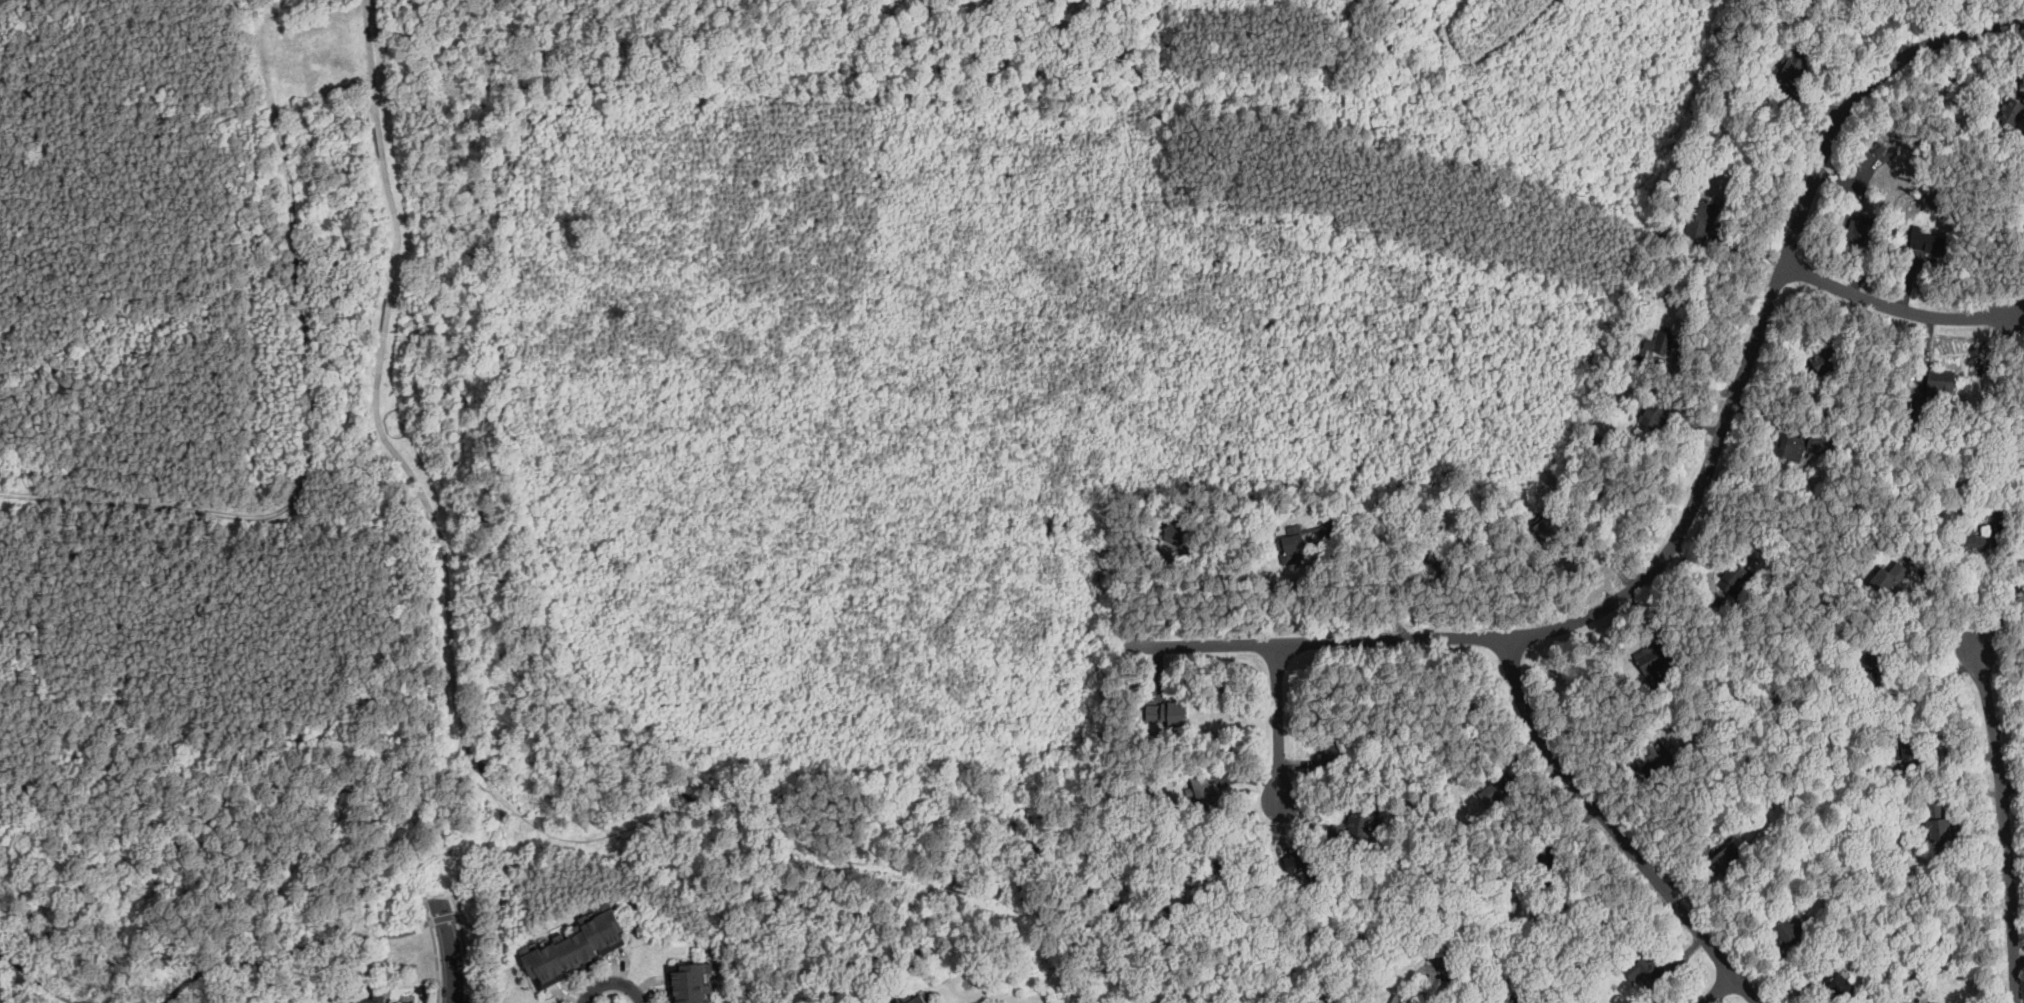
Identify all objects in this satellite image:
building: (1792, 69)
building: (2011, 111)
building: (1879, 148)
road: (84, 184)
building: (1701, 219)
building: (1971, 230)
building: (1858, 232)
building: (1928, 241)
park: (238, 255)
road: (291, 256)
road: (383, 268)
road: (1895, 305)
road: (2019, 309)
building: (1664, 343)
building: (1826, 359)
building: (1940, 382)
building: (1654, 416)
building: (1596, 440)
building: (1817, 444)
building: (1791, 448)
road: (217, 502)
building: (1982, 502)
road: (1695, 503)
road: (141, 505)
building: (1997, 513)
building: (1500, 515)
building: (1330, 527)
building: (1550, 528)
building: (1178, 532)
building: (1251, 532)
road: (1040, 538)
building: (1971, 543)
building: (1293, 549)
building: (2022, 559)
building: (1441, 561)
building: (1935, 565)
building: (1737, 577)
building: (1889, 578)
road: (1985, 602)
building: (1714, 606)
road: (2000, 616)
road: (930, 635)
road: (452, 640)
building: (1874, 658)
building: (1656, 663)
building: (1868, 678)
building: (1176, 717)
road: (1278, 720)
building: (1717, 737)
building: (1912, 747)
building: (1335, 752)
building: (1653, 760)
building: (1869, 764)
road: (463, 767)
road: (467, 773)
building: (1206, 792)
building: (1494, 793)
road: (697, 808)
building: (1745, 808)
building: (1360, 824)
road: (2005, 824)
building: (1938, 825)
road: (1615, 829)
road: (490, 834)
road: (592, 839)
building: (1729, 860)
building: (1820, 860)
building: (1301, 864)
building: (1552, 868)
building: (1790, 891)
road: (456, 906)
building: (617, 931)
building: (1787, 932)
building: (601, 938)
building: (1849, 945)
building: (1961, 945)
road: (307, 946)
road: (453, 950)
building: (590, 950)
building: (1446, 955)
building: (575, 956)
road: (467, 958)
building: (557, 960)
building: (542, 967)
building: (1606, 967)
building: (1647, 969)
road: (37, 978)
building: (693, 980)
road: (612, 981)
building: (1436, 986)
building: (1841, 988)
road: (1720, 989)
road: (40, 995)
building: (693, 995)
building: (1526, 999)
building: (920, 1000)
building: (1400, 1000)
building: (369, 1001)
building: (931, 1002)
building: (1385, 1002)

